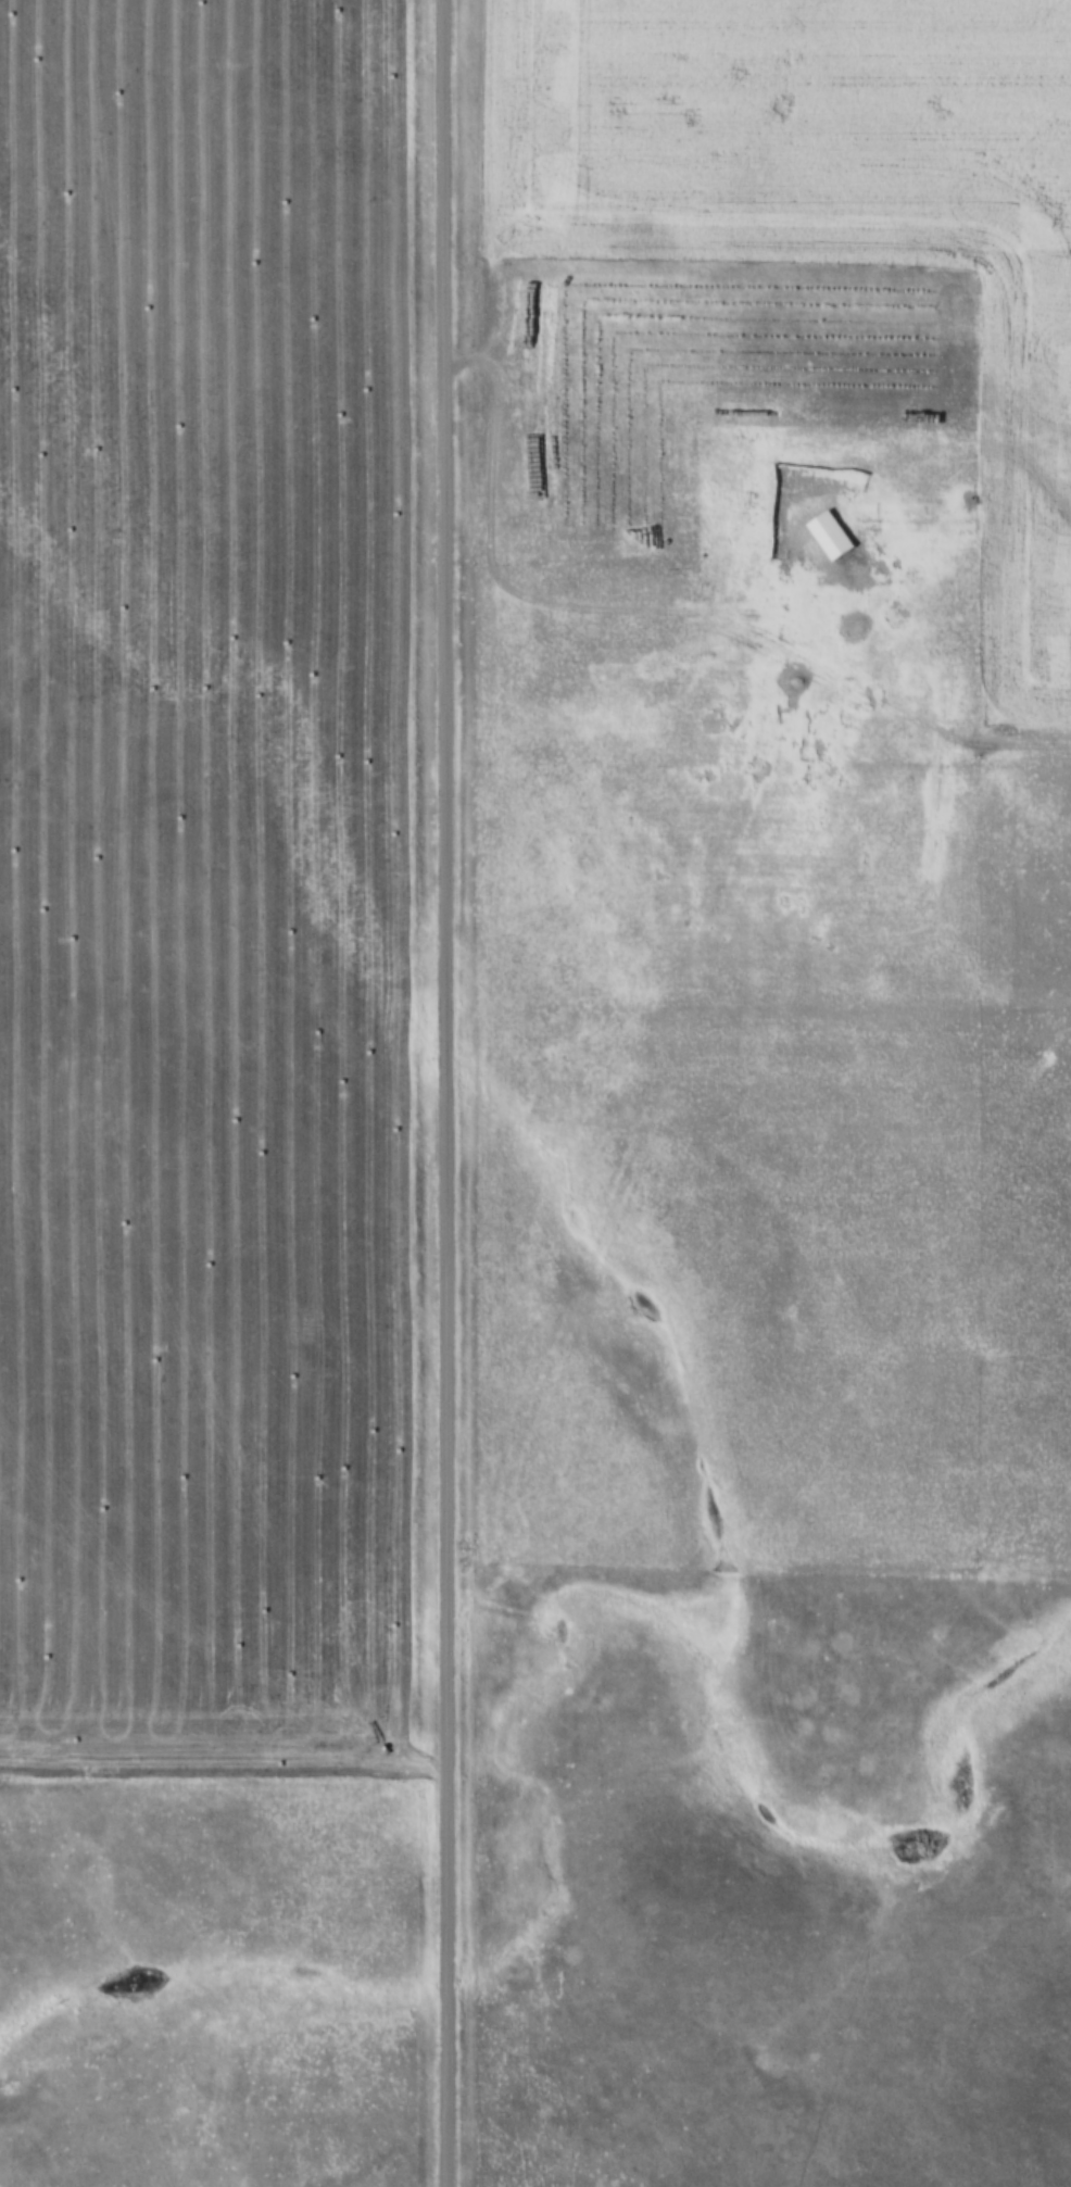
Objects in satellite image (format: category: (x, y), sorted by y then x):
building: (817, 495)
building: (803, 510)
building: (236, 871)
road: (451, 1093)

